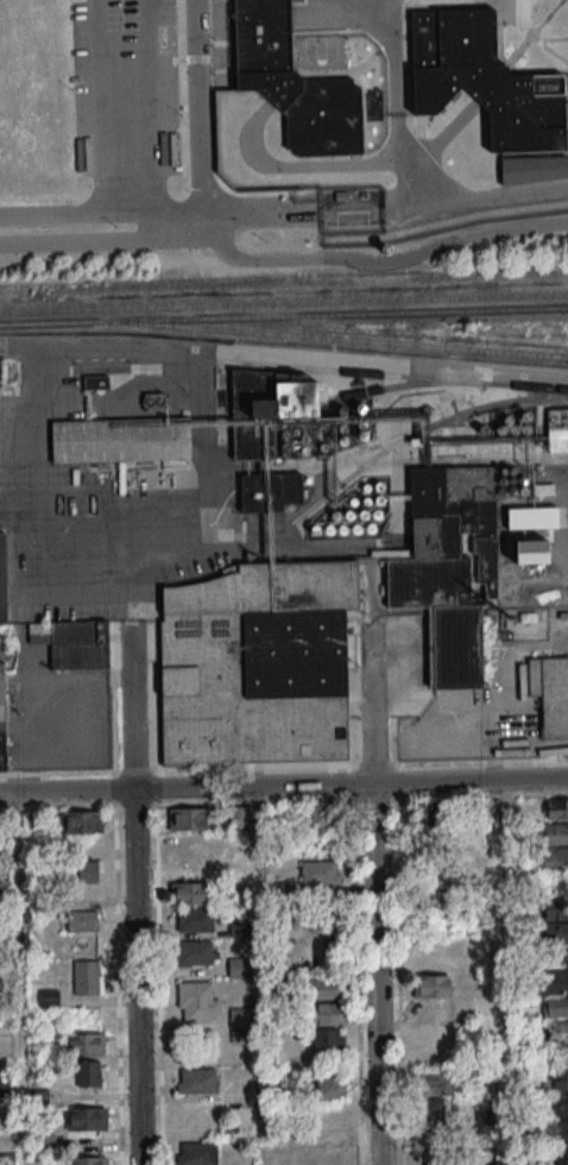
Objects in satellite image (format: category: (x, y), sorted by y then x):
road: (398, 10)
road: (524, 20)
road: (524, 31)
road: (532, 33)
road: (547, 40)
road: (391, 63)
building: (481, 82)
building: (291, 83)
parking lot: (122, 87)
road: (97, 106)
road: (145, 120)
road: (343, 162)
building: (530, 170)
road: (443, 204)
road: (101, 210)
road: (260, 213)
road: (105, 241)
building: (383, 253)
road: (269, 258)
railway: (283, 301)
railway: (284, 315)
railway: (329, 336)
railway: (390, 373)
railway: (405, 383)
building: (289, 401)
building: (556, 428)
railway: (417, 430)
road: (29, 435)
building: (120, 440)
railway: (370, 446)
building: (290, 486)
building: (253, 493)
building: (534, 517)
building: (532, 552)
building: (449, 567)
building: (2, 577)
building: (72, 642)
building: (255, 663)
building: (550, 693)
road: (371, 699)
road: (131, 706)
building: (1, 714)
road: (283, 783)
building: (555, 807)
building: (425, 812)
building: (238, 814)
building: (323, 815)
building: (188, 818)
building: (82, 821)
building: (555, 832)
building: (197, 843)
building: (553, 858)
building: (84, 870)
building: (320, 871)
building: (190, 893)
building: (82, 919)
building: (194, 919)
building: (556, 920)
building: (196, 952)
building: (239, 966)
road: (374, 974)
building: (86, 976)
road: (134, 976)
building: (554, 981)
building: (431, 985)
building: (324, 988)
building: (49, 997)
building: (197, 1001)
building: (554, 1006)
building: (326, 1013)
building: (240, 1024)
building: (555, 1029)
building: (328, 1039)
building: (83, 1044)
building: (88, 1072)
building: (196, 1079)
building: (556, 1081)
building: (6, 1087)
building: (329, 1088)
building: (557, 1104)
building: (434, 1116)
building: (88, 1117)
building: (562, 1129)
building: (329, 1134)
building: (45, 1141)
building: (196, 1153)
building: (561, 1153)
building: (87, 1160)

